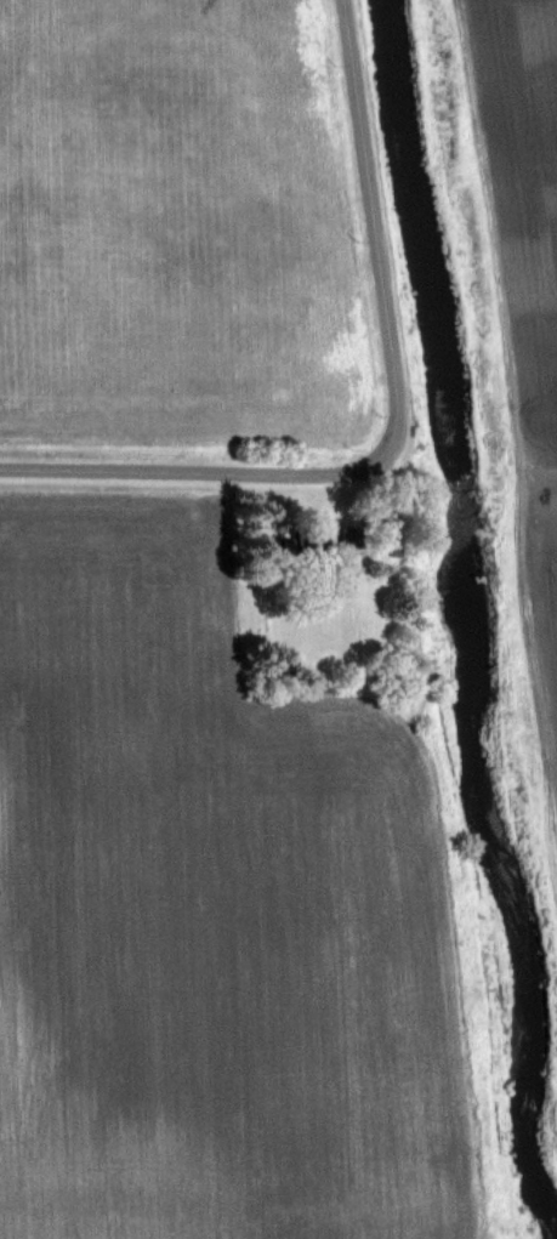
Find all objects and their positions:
road: (382, 229)
road: (191, 449)

